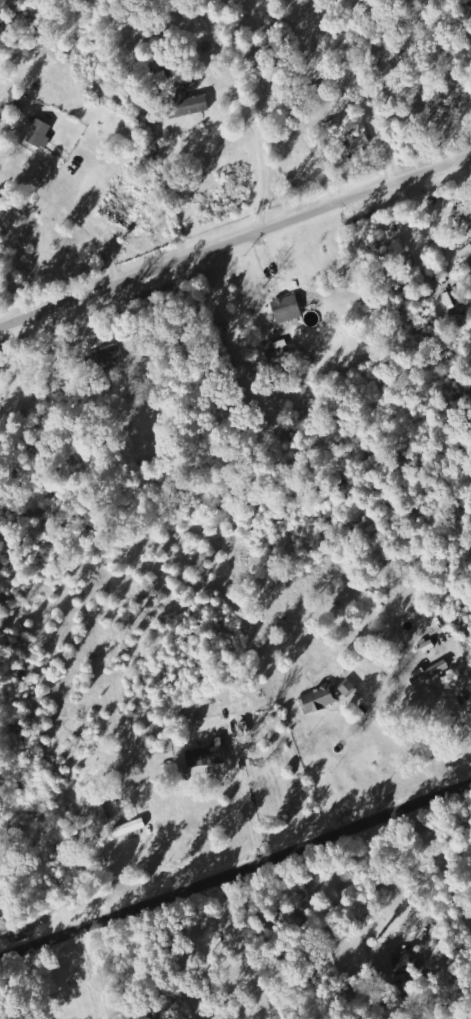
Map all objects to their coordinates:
building: (196, 104)
building: (41, 133)
building: (358, 140)
road: (235, 239)
building: (288, 308)
building: (108, 357)
building: (278, 359)
building: (431, 672)
building: (349, 688)
building: (319, 699)
building: (207, 756)
building: (131, 827)
road: (235, 870)
building: (407, 961)

